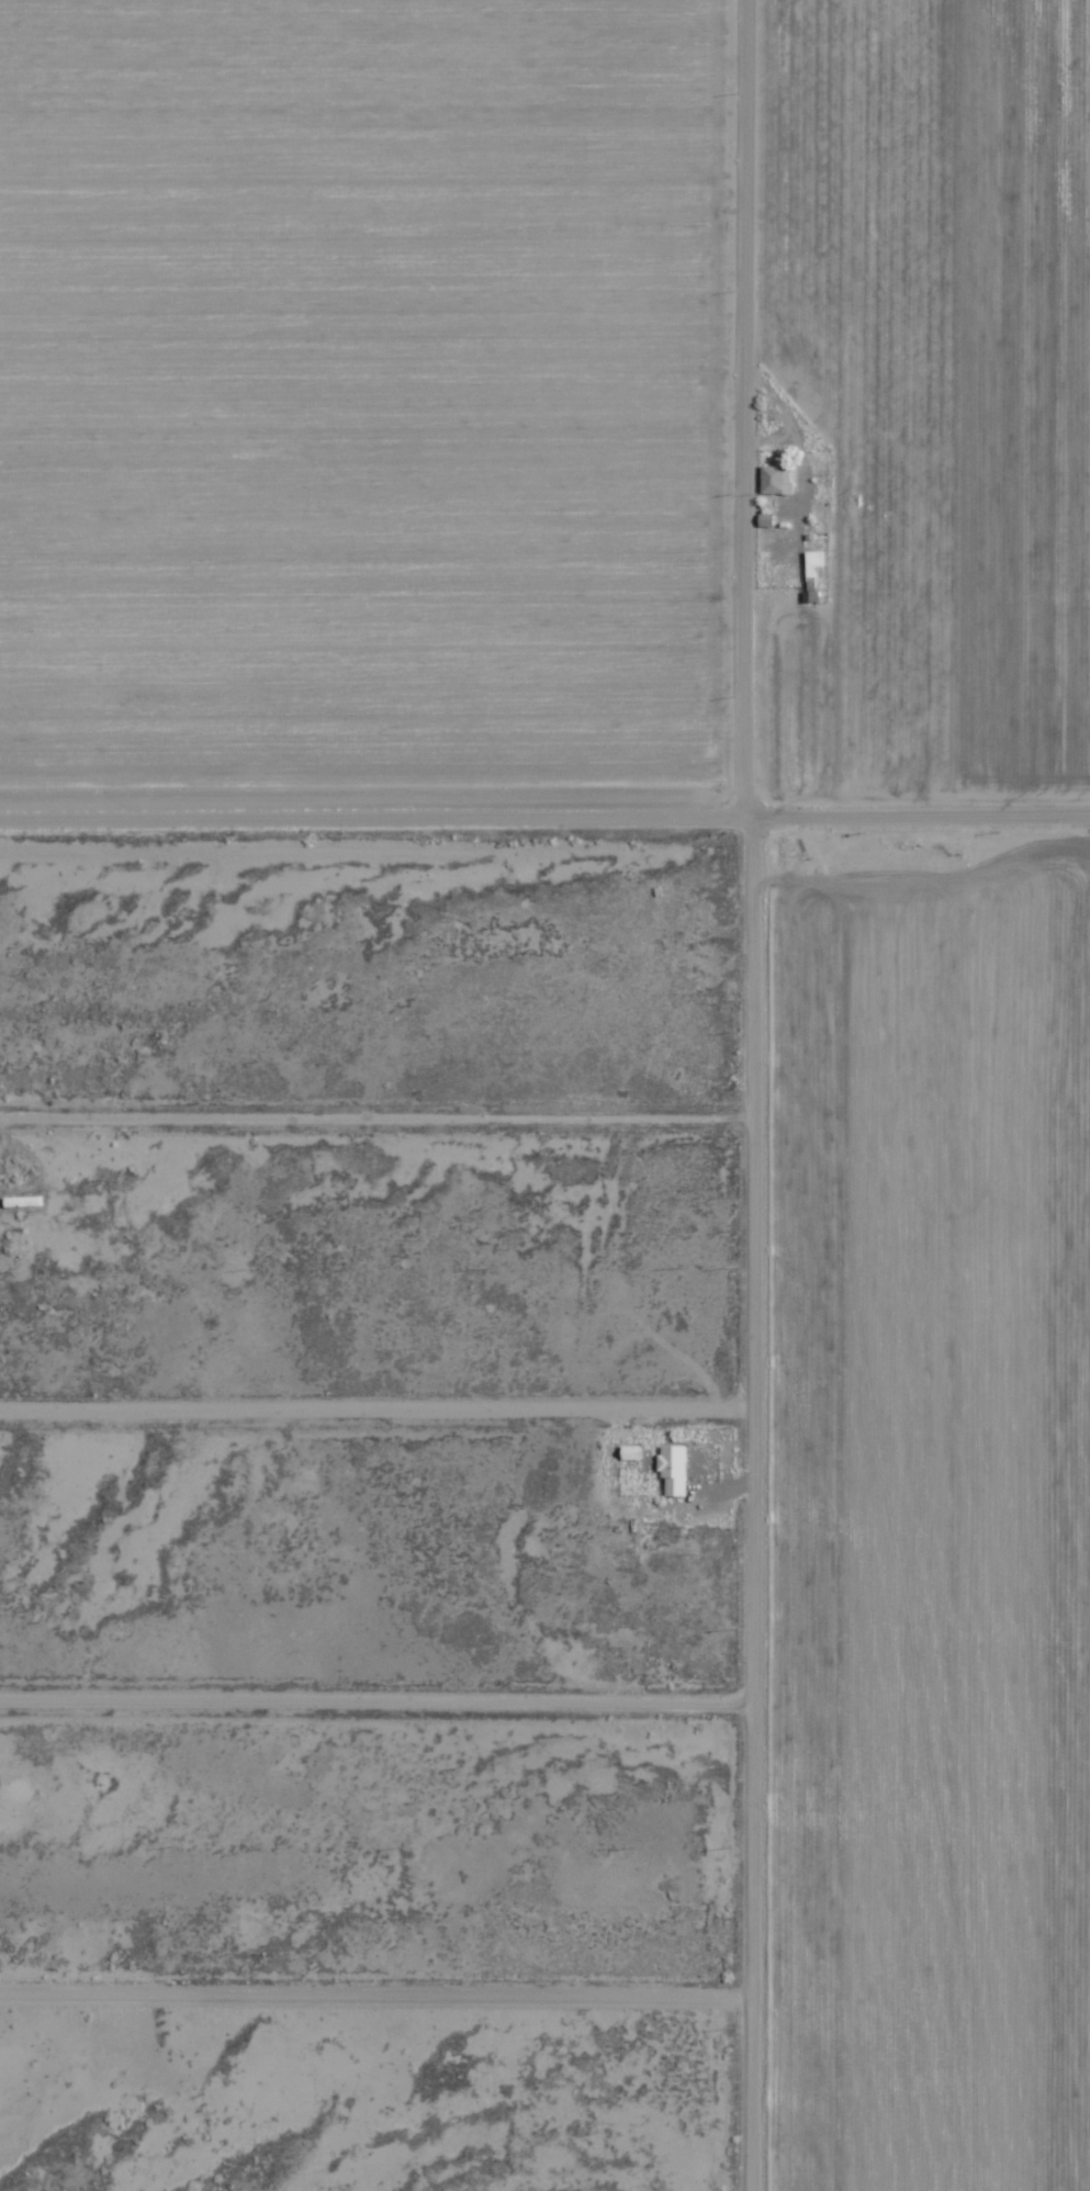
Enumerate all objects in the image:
building: (769, 480)
road: (912, 788)
road: (368, 789)
road: (364, 1074)
road: (730, 1094)
road: (364, 1392)
building: (671, 1469)
road: (364, 1684)
road: (364, 1976)

